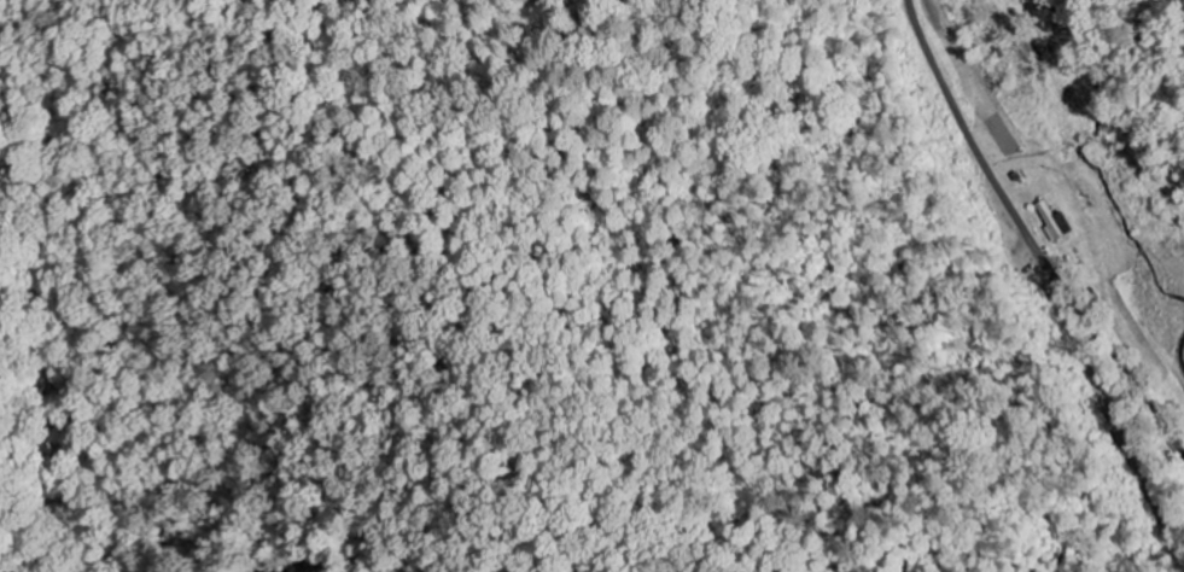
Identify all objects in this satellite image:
building: (1055, 223)
road: (950, 297)
road: (1156, 506)

